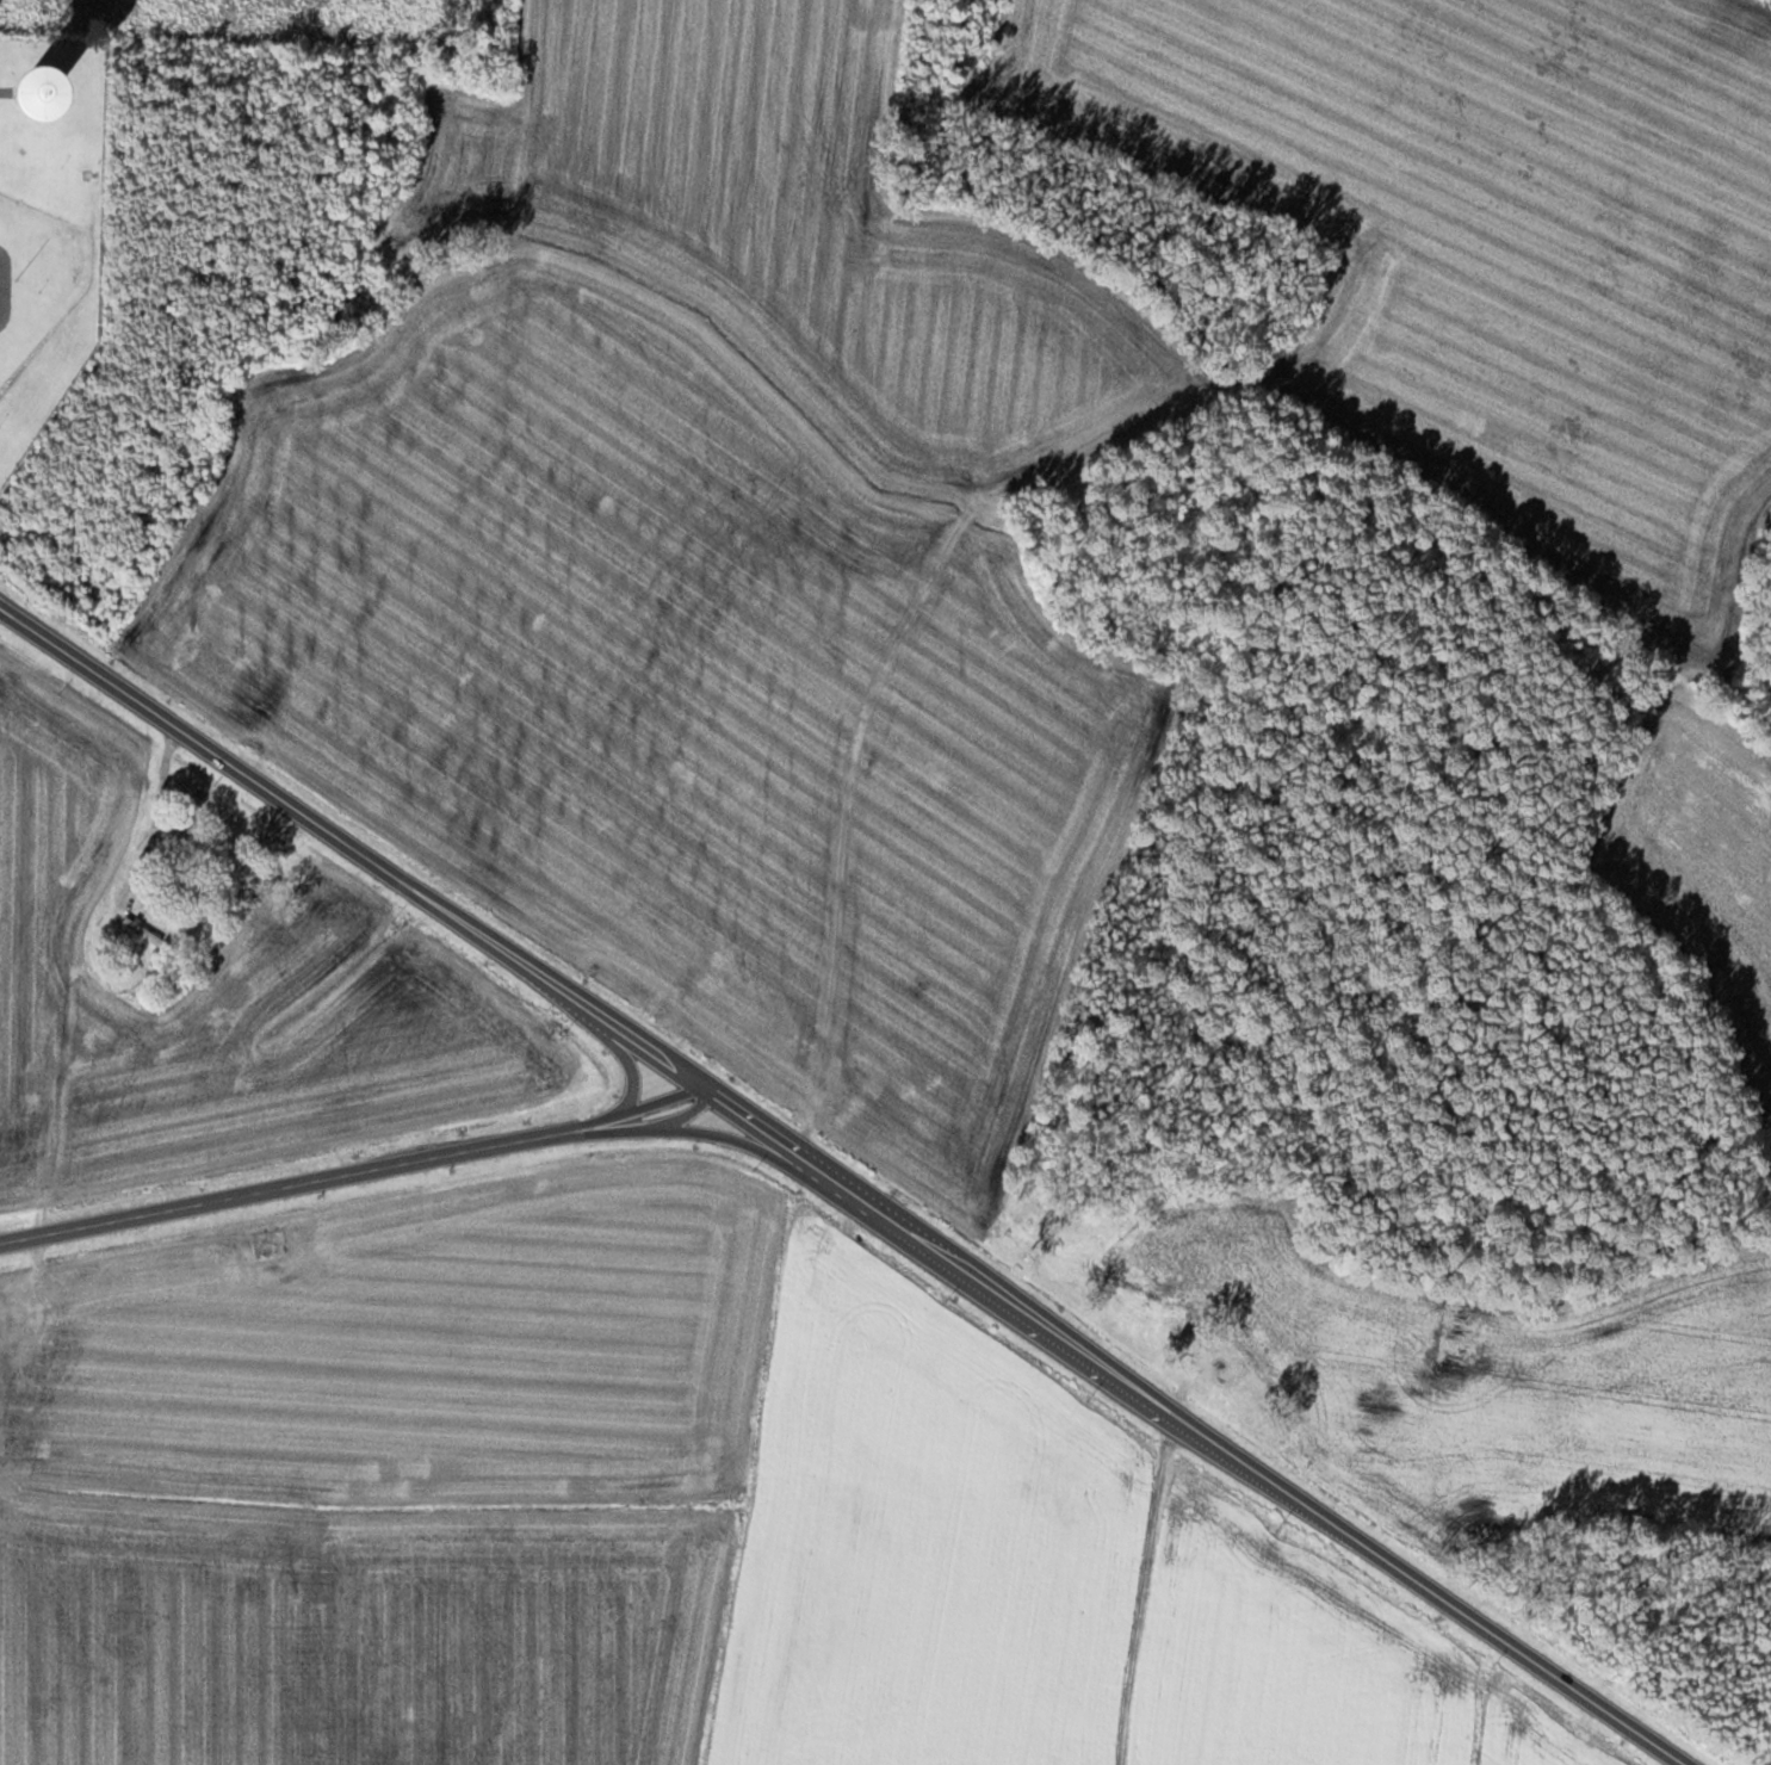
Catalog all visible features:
road: (309, 815)
building: (144, 930)
building: (650, 956)
road: (654, 1051)
road: (630, 1073)
road: (701, 1083)
road: (656, 1100)
road: (687, 1110)
road: (756, 1121)
road: (637, 1126)
road: (729, 1135)
road: (309, 1181)
road: (1080, 1351)
road: (1148, 1585)
road: (1523, 1655)

